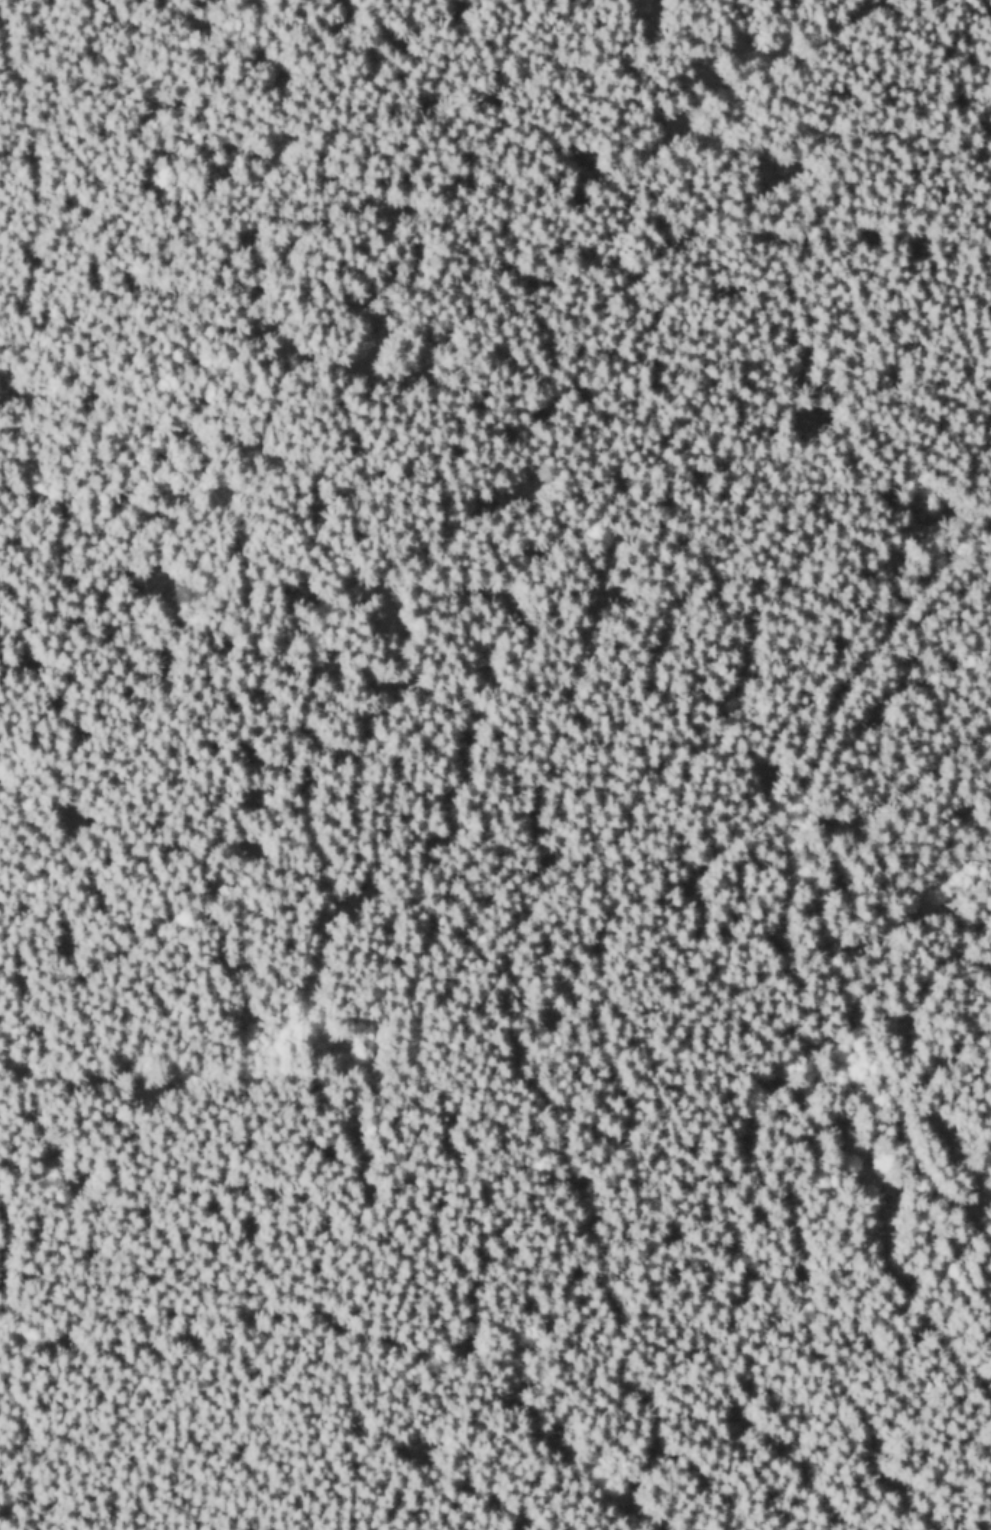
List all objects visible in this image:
road: (707, 714)

